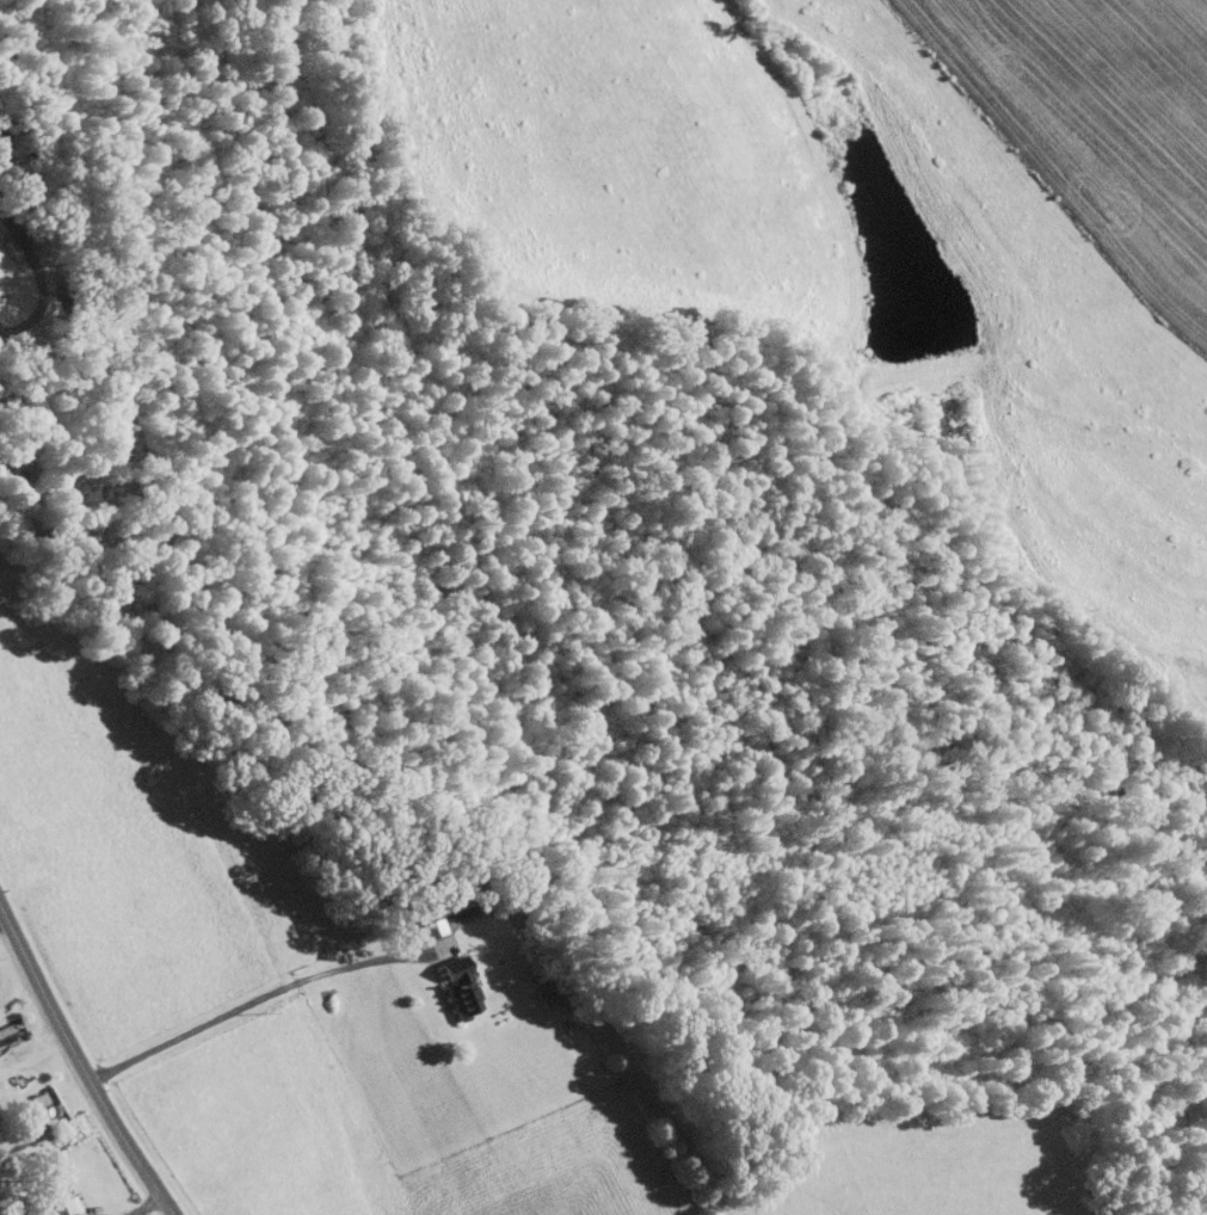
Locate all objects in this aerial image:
road: (37, 278)
crop: (1014, 389)
road: (2, 918)
road: (448, 926)
building: (458, 989)
road: (241, 1004)
road: (74, 1065)
crop: (940, 1162)
building: (56, 1201)

